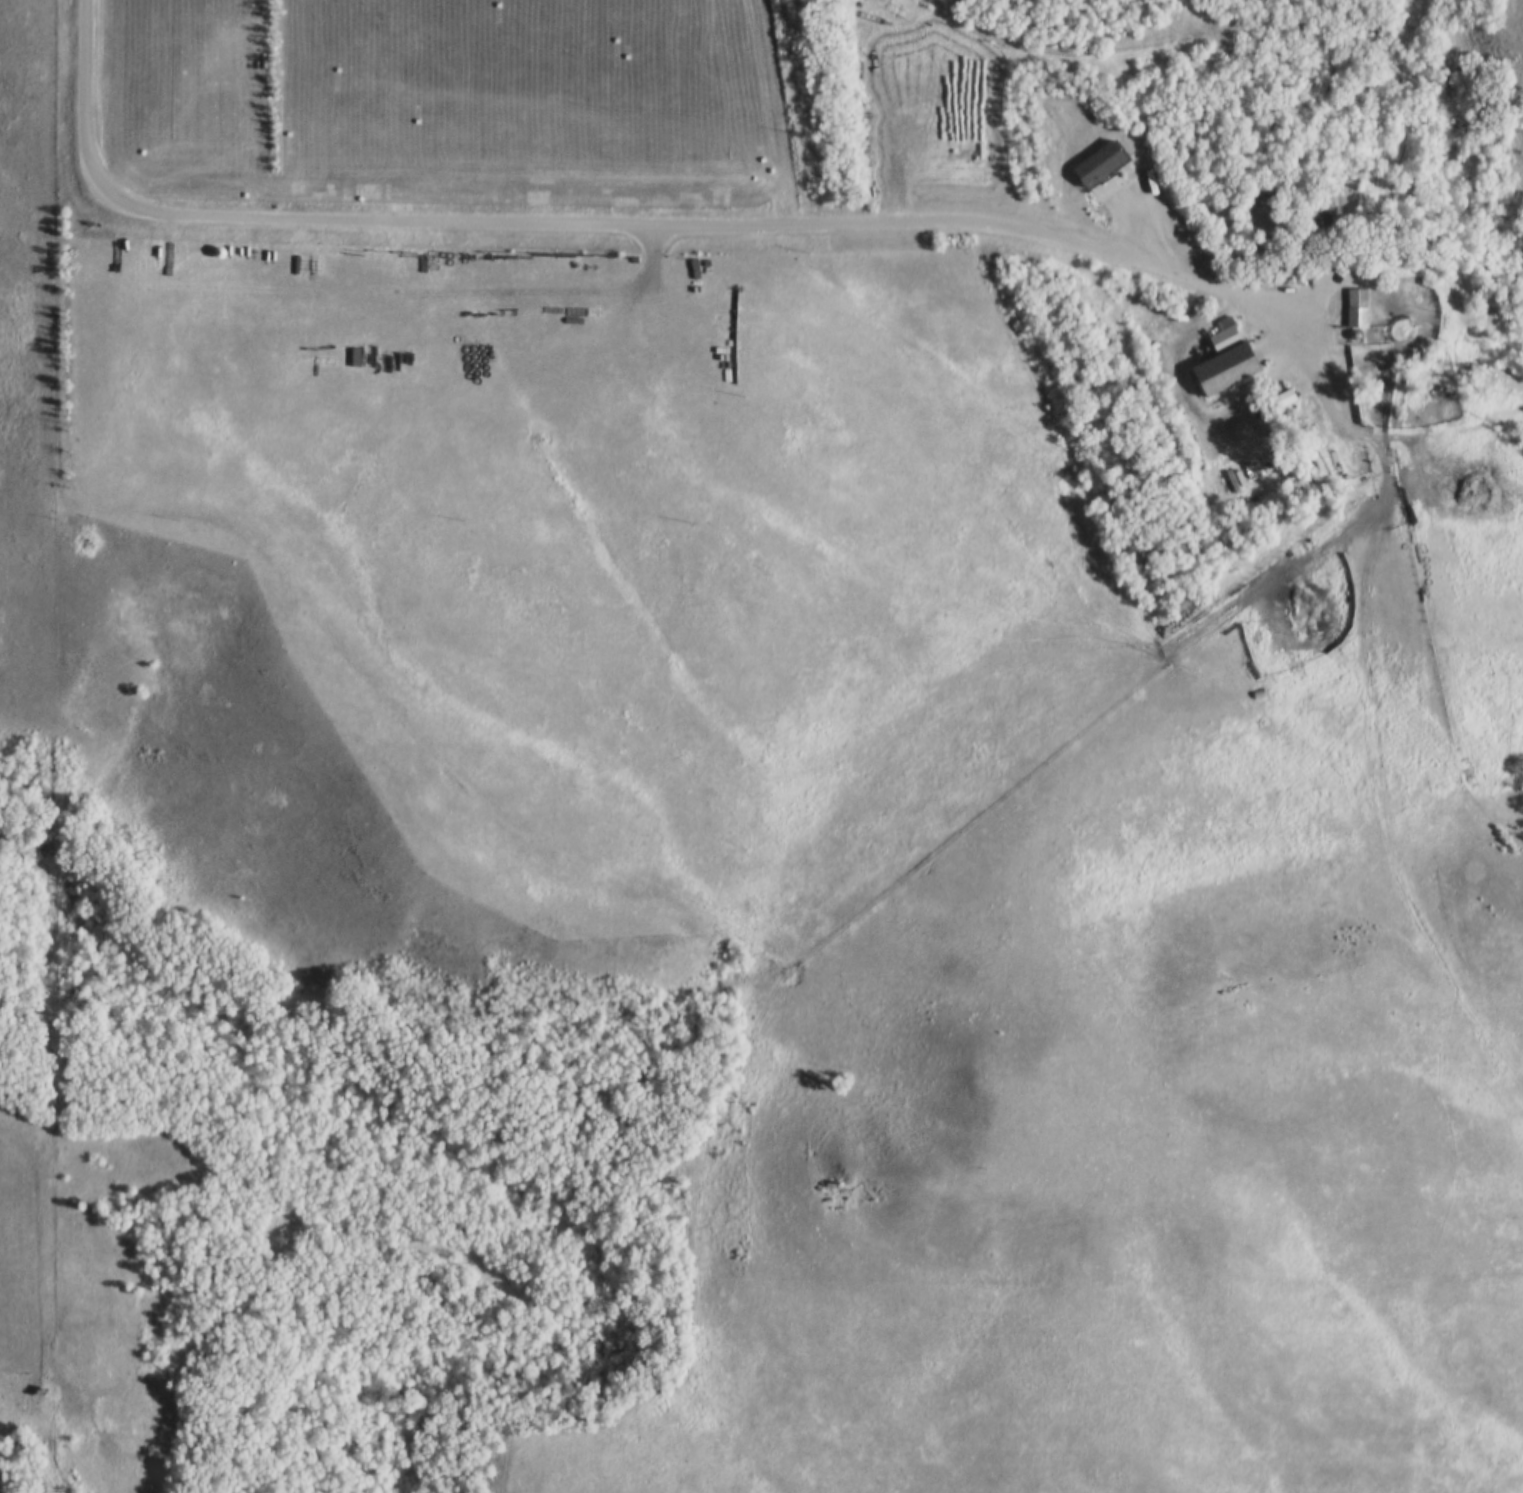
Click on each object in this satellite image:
road: (769, 114)
building: (1100, 162)
road: (636, 228)
building: (687, 294)
building: (1354, 309)
building: (1220, 337)
building: (1225, 371)
building: (1286, 401)
building: (1245, 476)
building: (1236, 480)
building: (1255, 672)
building: (1244, 678)
building: (1252, 700)

